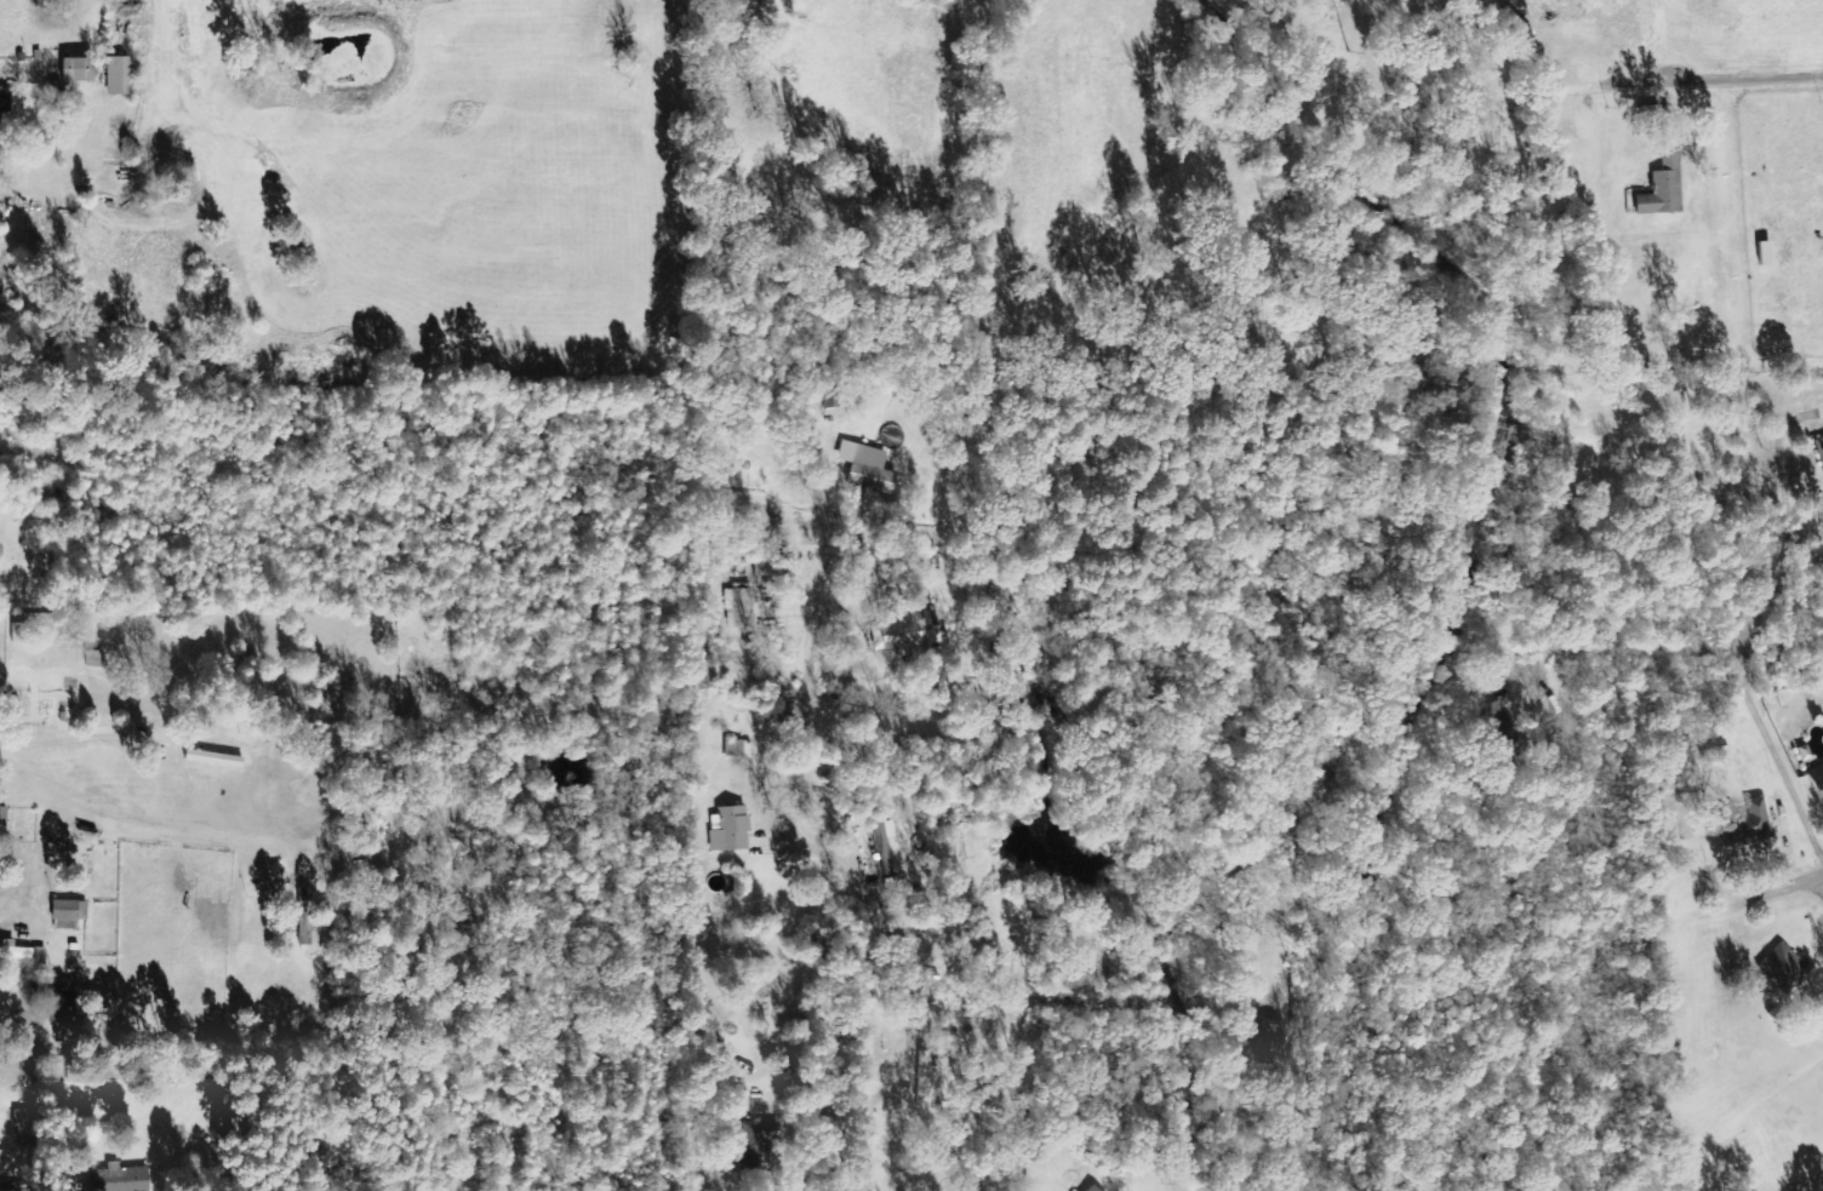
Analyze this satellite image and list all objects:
building: (80, 70)
building: (122, 76)
building: (1, 111)
road: (288, 187)
building: (1665, 189)
building: (1819, 448)
building: (874, 470)
building: (768, 568)
building: (796, 569)
building: (742, 606)
building: (912, 631)
building: (19, 632)
building: (96, 659)
building: (739, 749)
building: (1815, 786)
road: (835, 789)
road: (136, 815)
building: (1742, 824)
building: (731, 829)
road: (1767, 897)
building: (69, 912)
building: (18, 951)
building: (1779, 968)
building: (64, 1003)
road: (872, 1059)
road: (1251, 1070)
building: (926, 1076)
building: (28, 1126)
building: (766, 1149)
building: (120, 1179)
building: (1085, 1189)

